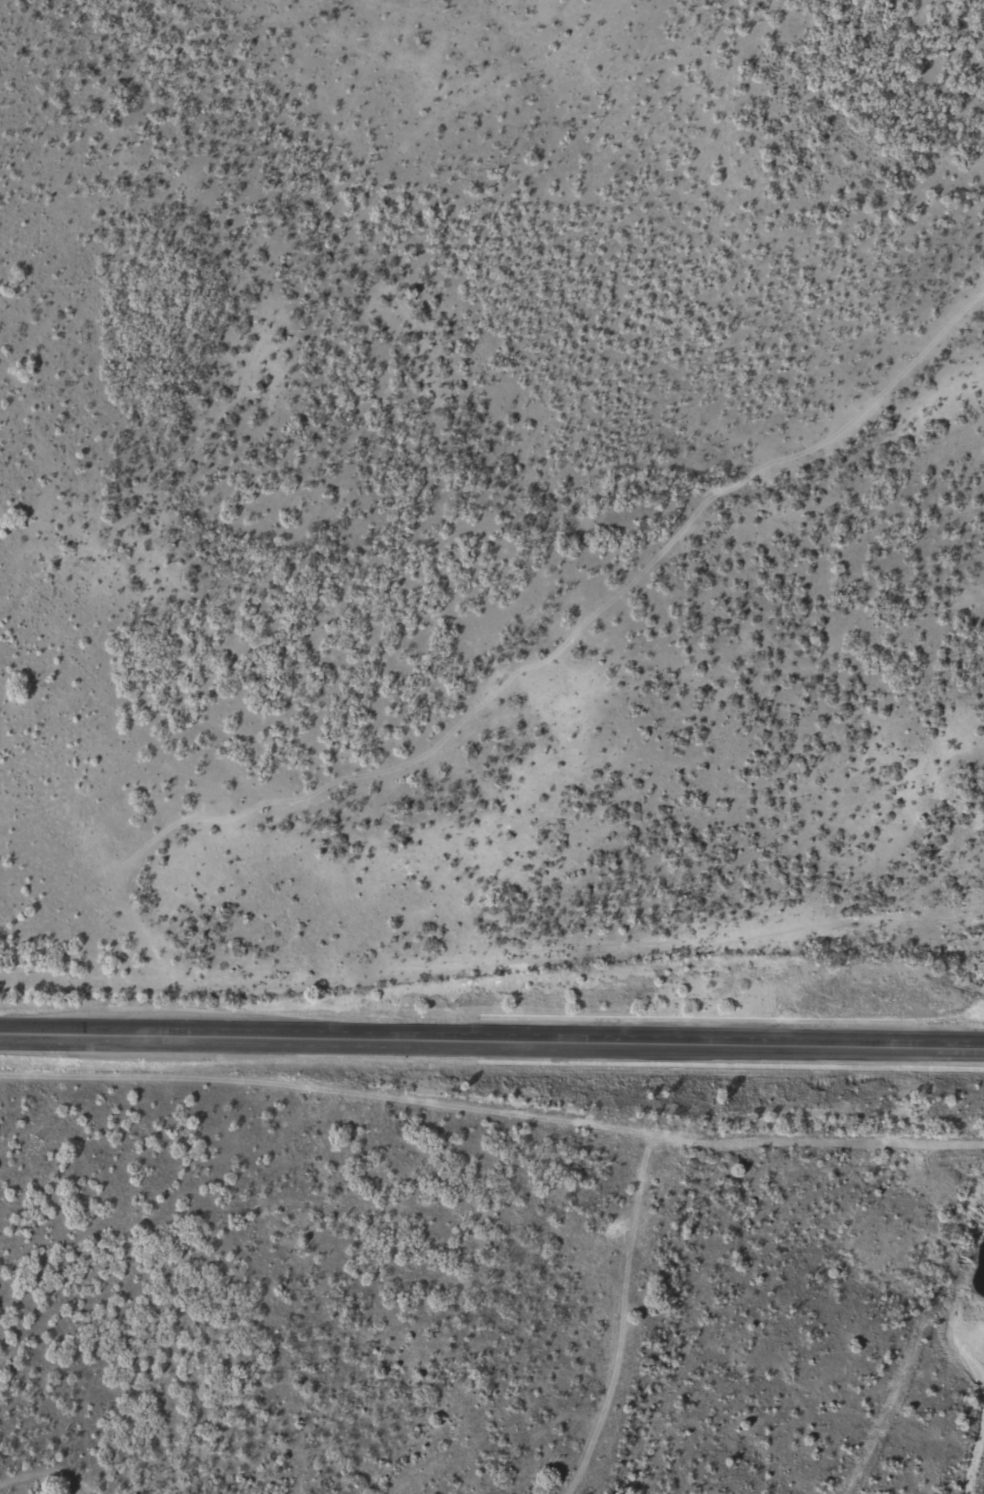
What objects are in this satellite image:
road: (514, 659)
road: (492, 1043)

